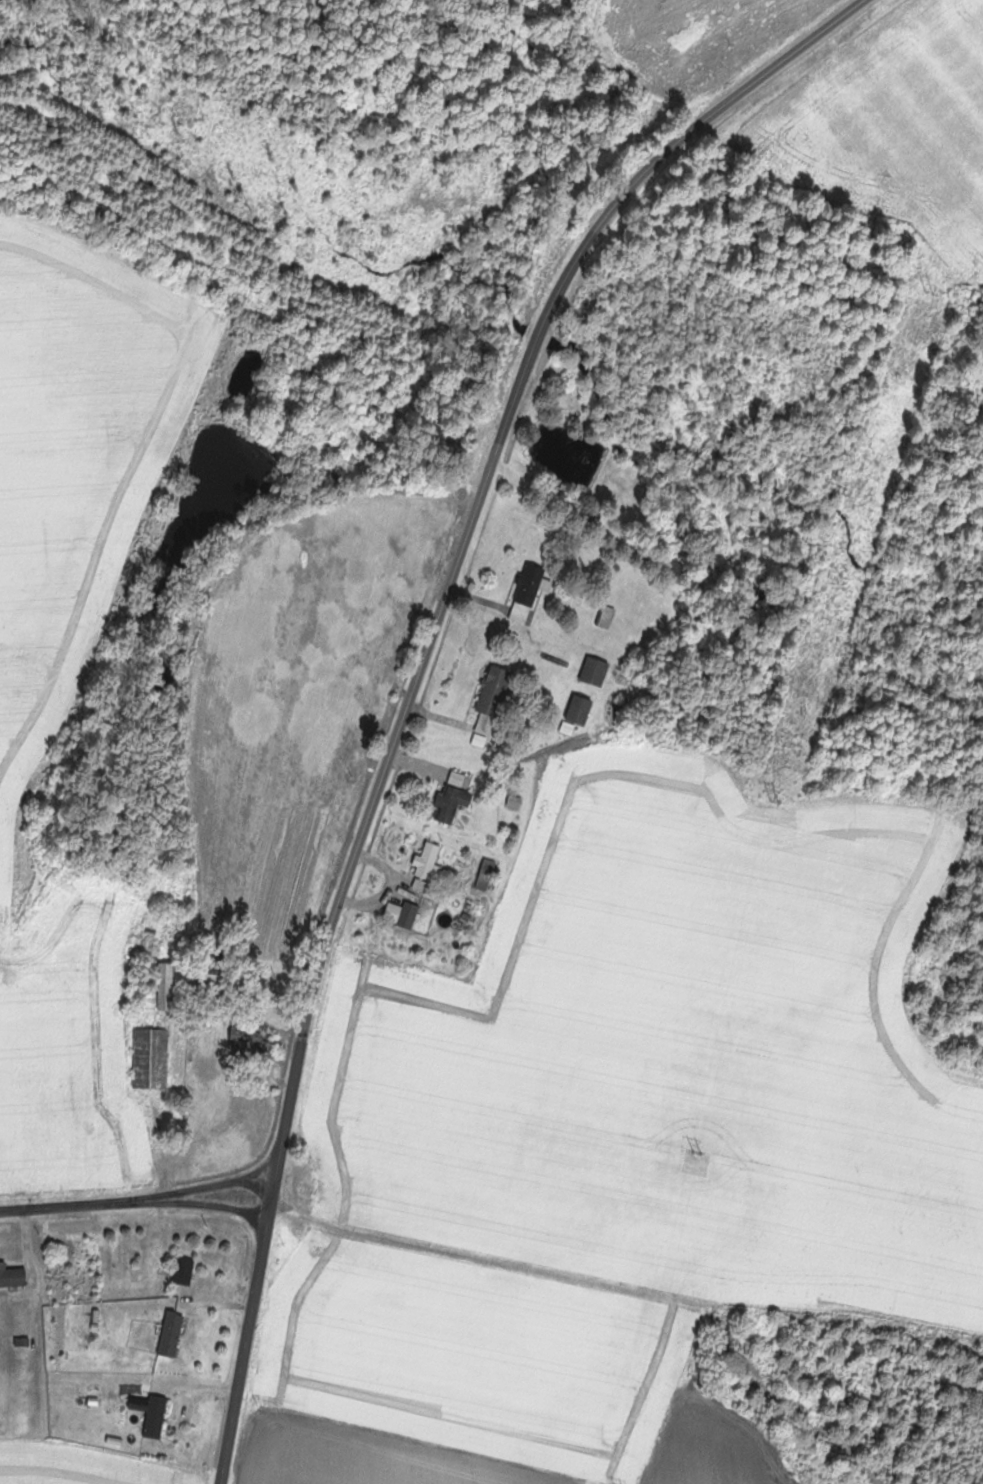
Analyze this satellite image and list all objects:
power tower: (931, 291)
road: (497, 451)
building: (531, 591)
building: (608, 616)
building: (598, 670)
building: (493, 704)
building: (583, 709)
building: (455, 798)
power tower: (773, 802)
building: (431, 862)
building: (488, 874)
building: (404, 913)
building: (169, 986)
building: (153, 1057)
road: (289, 1108)
power tower: (697, 1154)
road: (136, 1205)
building: (186, 1271)
building: (13, 1276)
building: (173, 1333)
road: (247, 1338)
building: (154, 1414)

